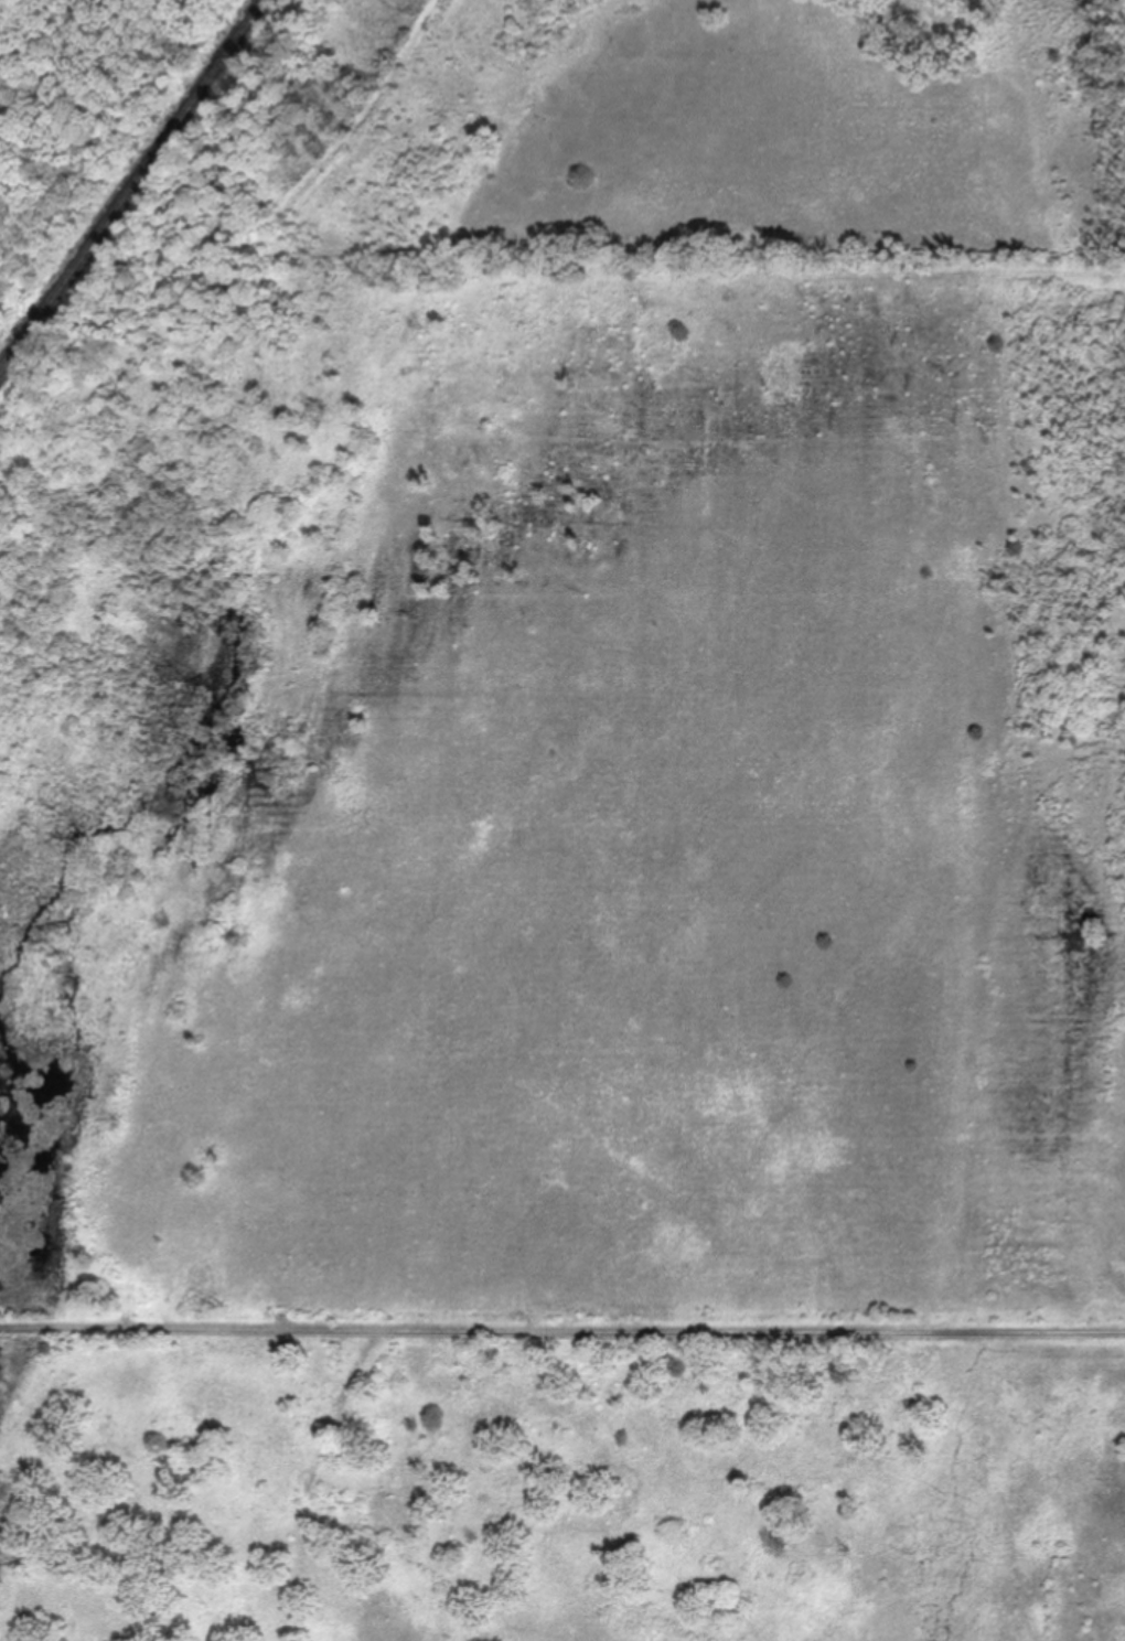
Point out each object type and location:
railway: (131, 185)
park: (561, 951)
road: (562, 1328)

